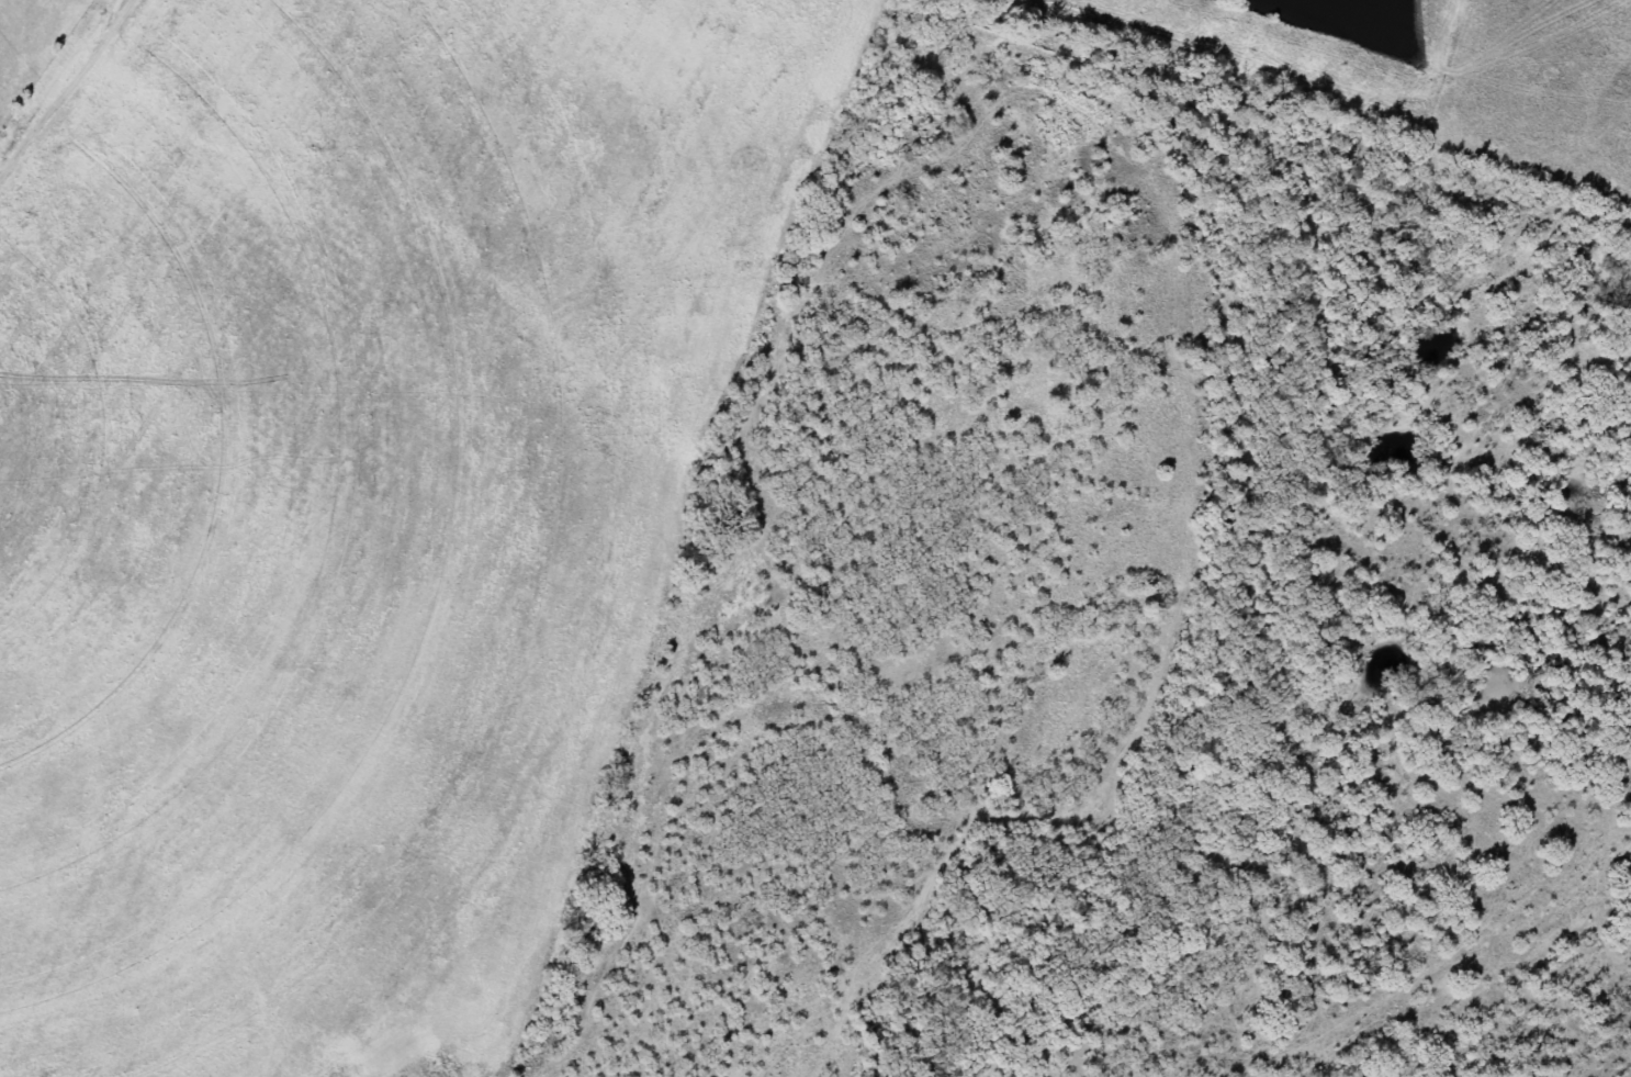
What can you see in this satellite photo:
road: (88, 94)

